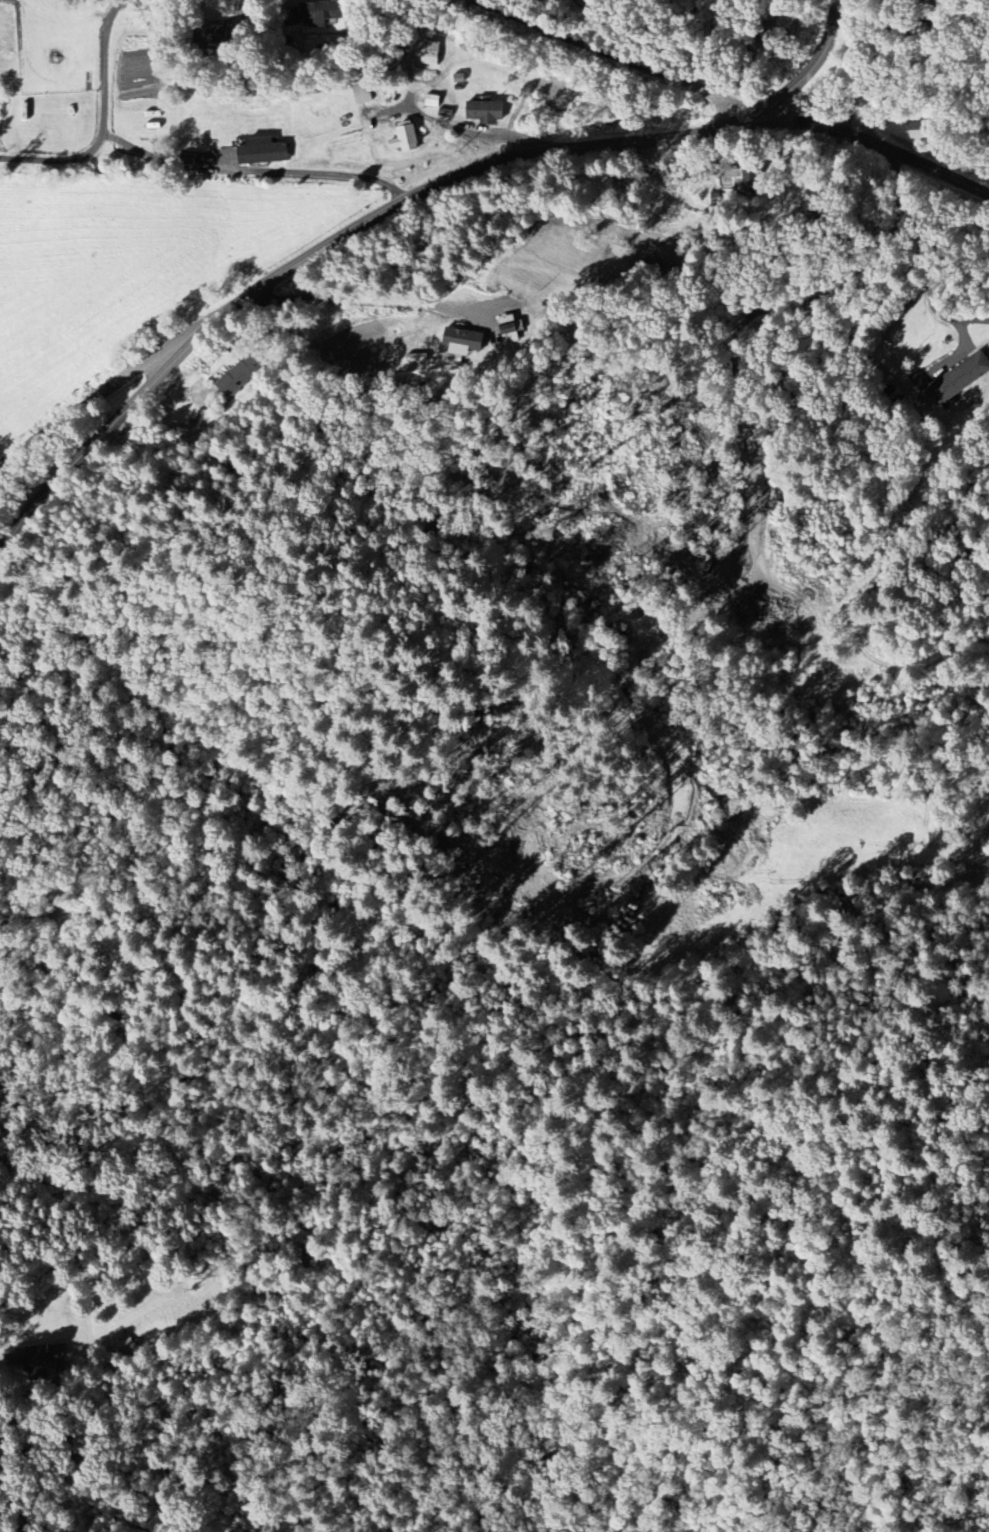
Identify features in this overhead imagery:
building: (321, 13)
building: (220, 34)
building: (431, 54)
road: (612, 58)
road: (873, 64)
building: (364, 96)
building: (486, 113)
road: (105, 121)
building: (926, 130)
building: (406, 139)
road: (876, 139)
building: (263, 152)
road: (254, 170)
building: (751, 181)
road: (394, 206)
road: (924, 251)
building: (665, 258)
road: (354, 298)
building: (513, 330)
building: (465, 340)
building: (240, 375)
building: (961, 379)
road: (80, 405)
building: (125, 1344)
building: (36, 1359)

